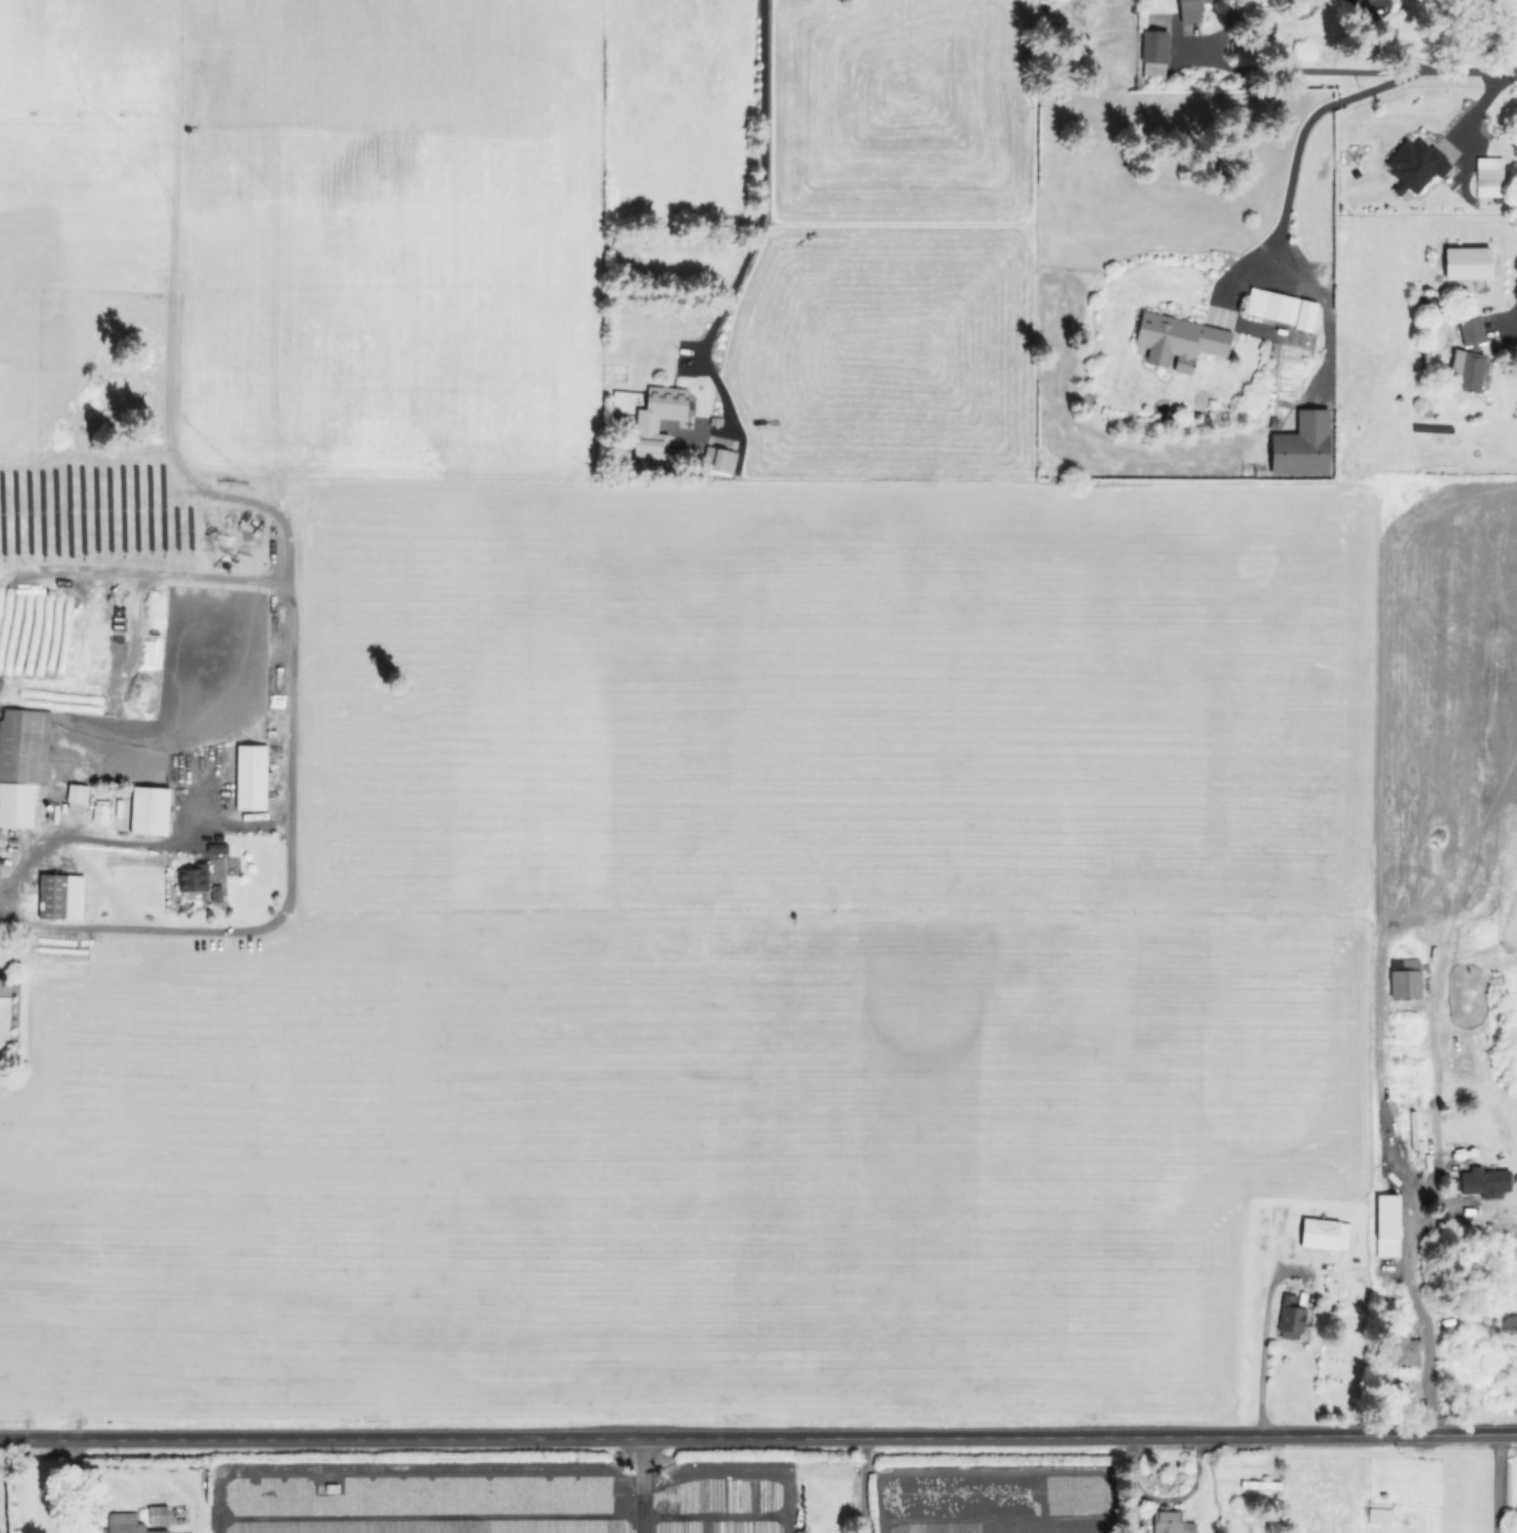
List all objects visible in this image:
building: (1191, 10)
building: (1153, 50)
road: (1365, 71)
road: (1516, 123)
building: (1491, 178)
road: (763, 184)
road: (1279, 207)
road: (1514, 295)
building: (1430, 303)
building: (1275, 307)
building: (1179, 339)
building: (1470, 363)
building: (667, 403)
building: (721, 459)
road: (285, 553)
crop: (627, 740)
building: (22, 765)
building: (250, 776)
building: (75, 797)
building: (148, 810)
building: (99, 811)
road: (70, 843)
building: (192, 877)
building: (59, 895)
building: (1406, 1066)
building: (1326, 1234)
road: (1417, 1310)
building: (1292, 1316)
building: (1405, 1347)
road: (1261, 1365)
road: (758, 1434)
road: (1496, 1482)
road: (860, 1483)
road: (641, 1484)
road: (67, 1485)
building: (1260, 1486)
building: (159, 1516)
building: (1172, 1523)
building: (128, 1524)

